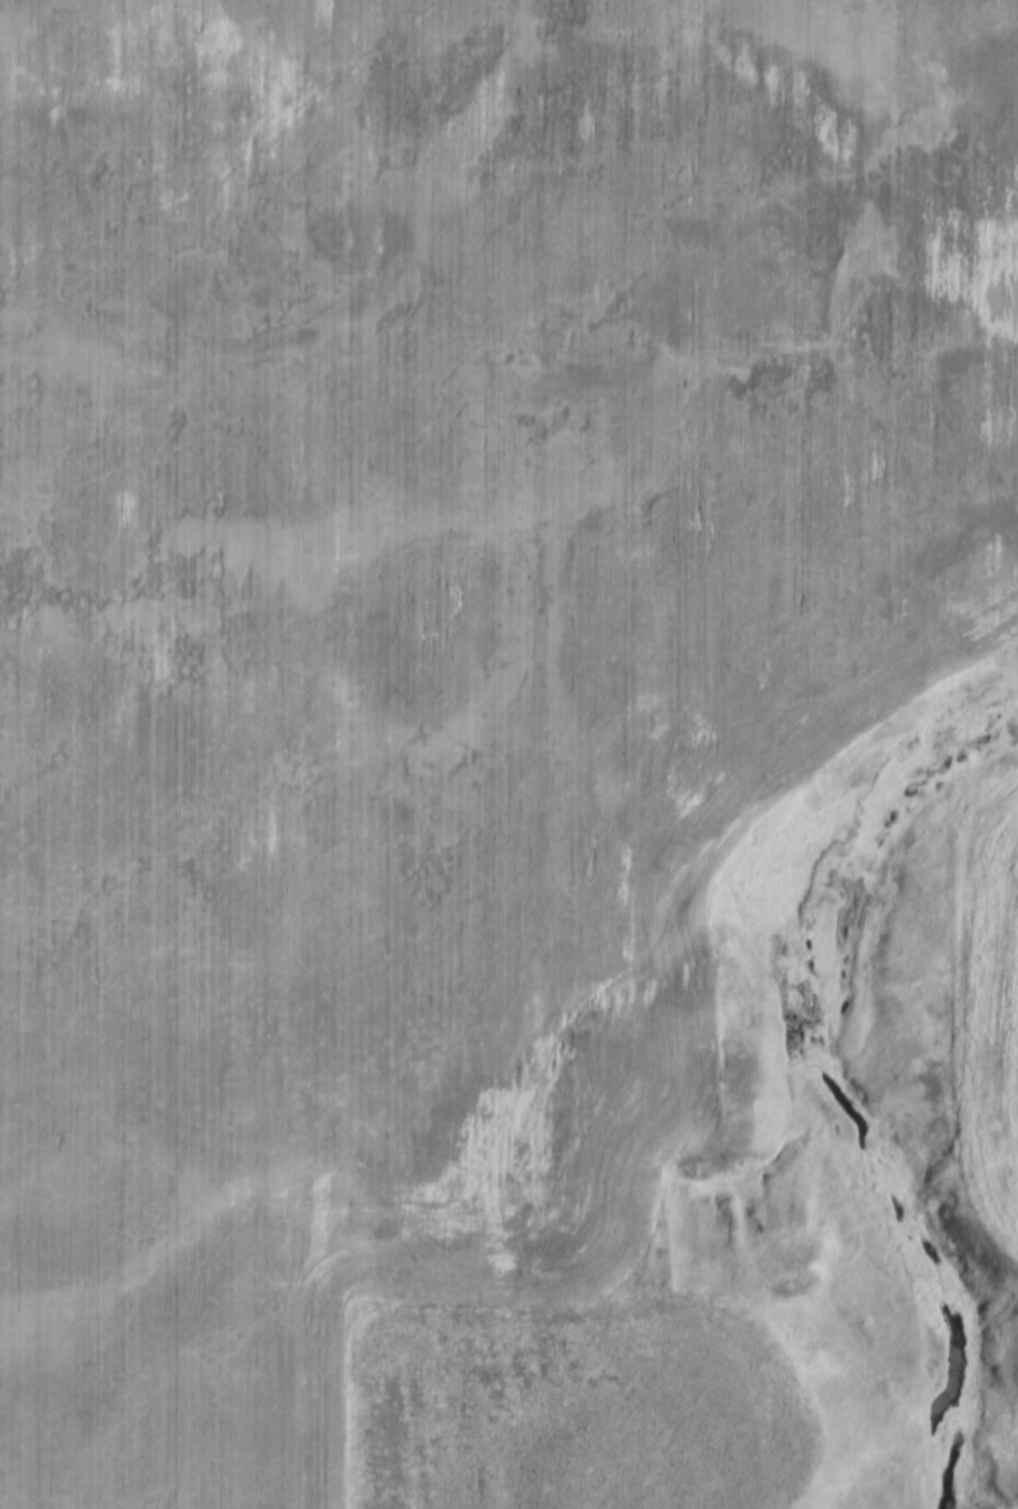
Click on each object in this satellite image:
road: (816, 1403)

